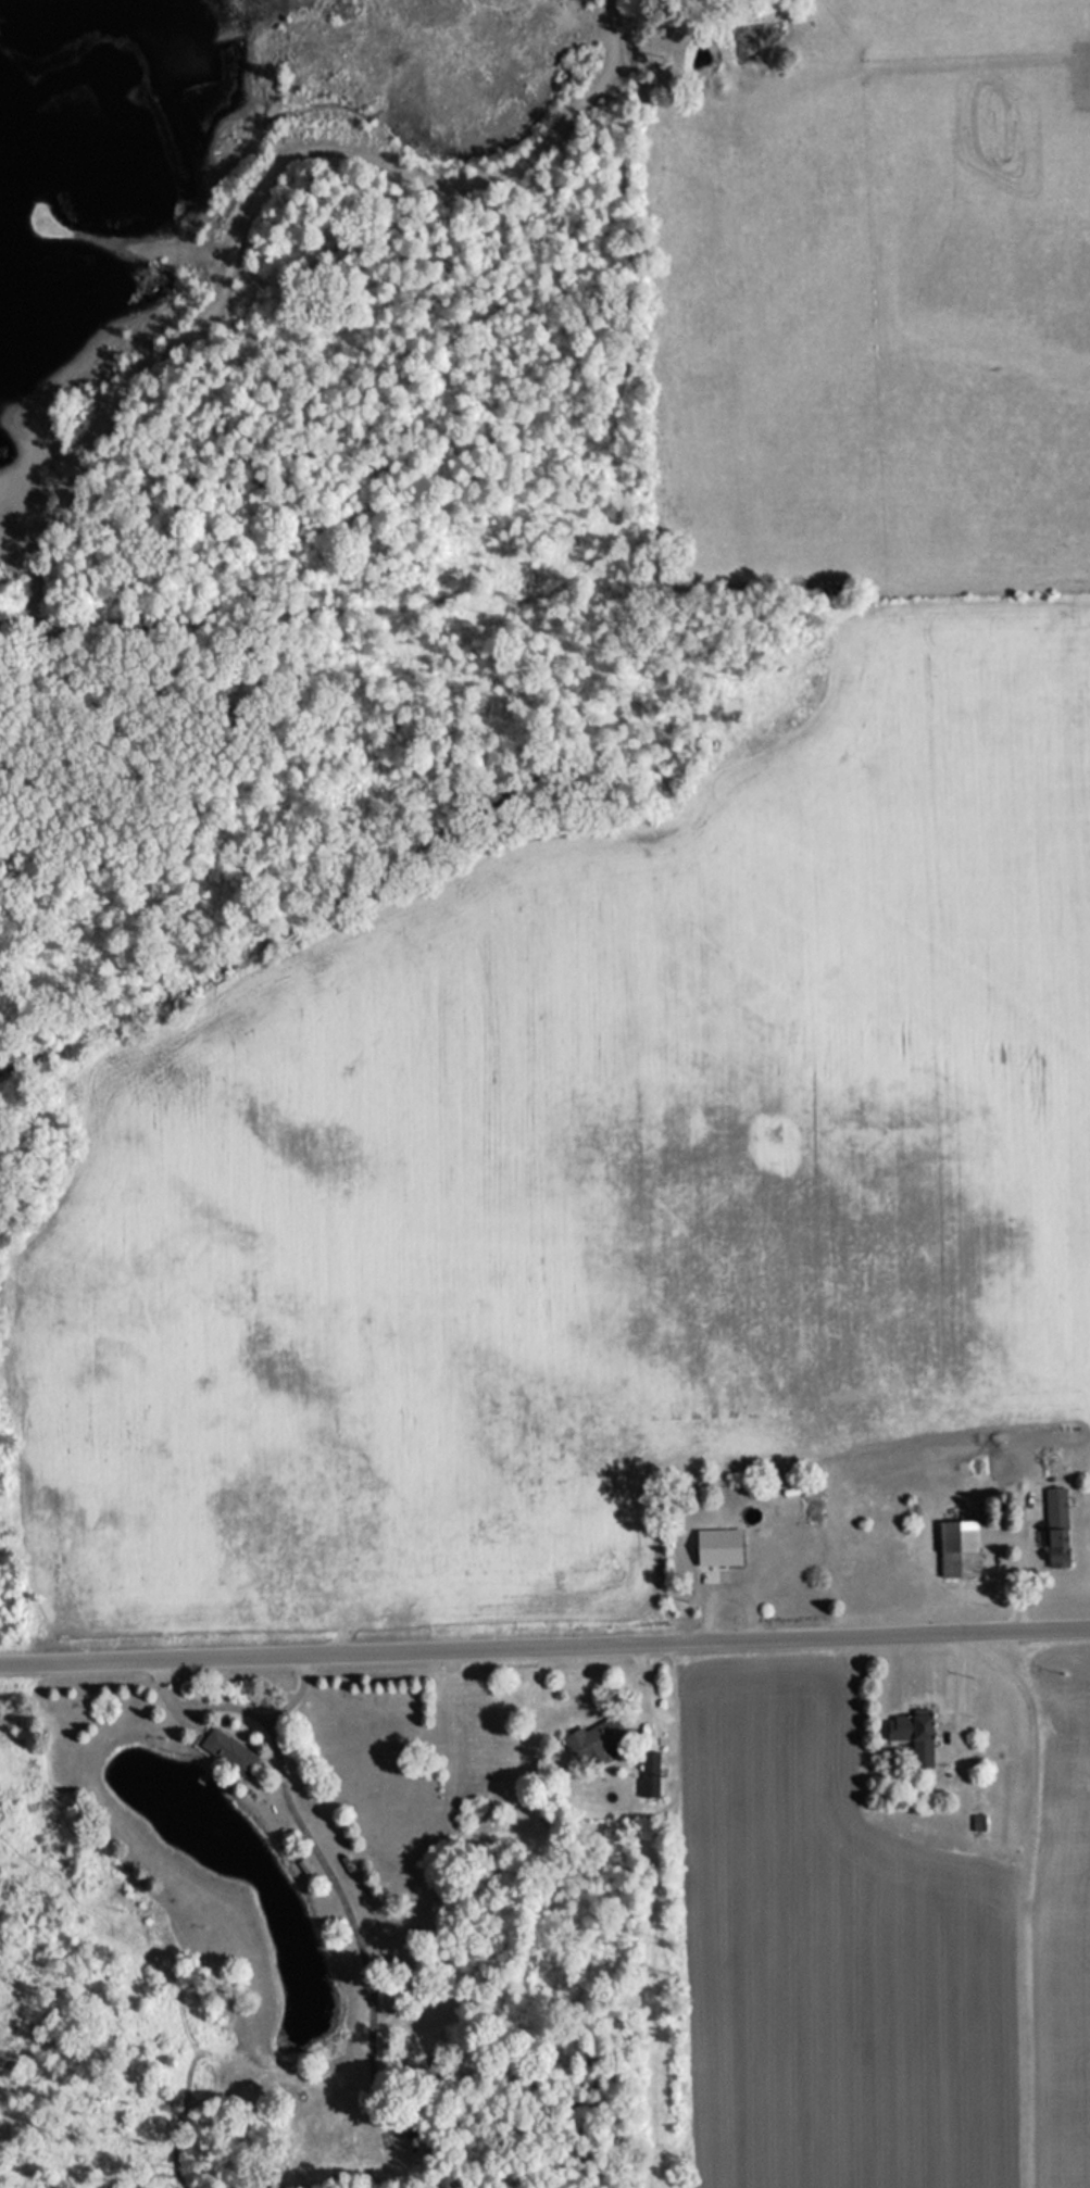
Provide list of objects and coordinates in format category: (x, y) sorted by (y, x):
building: (1056, 1527)
building: (779, 1547)
building: (960, 1548)
road: (544, 1648)
building: (596, 1739)
building: (923, 1739)
building: (228, 1751)
building: (651, 1763)

